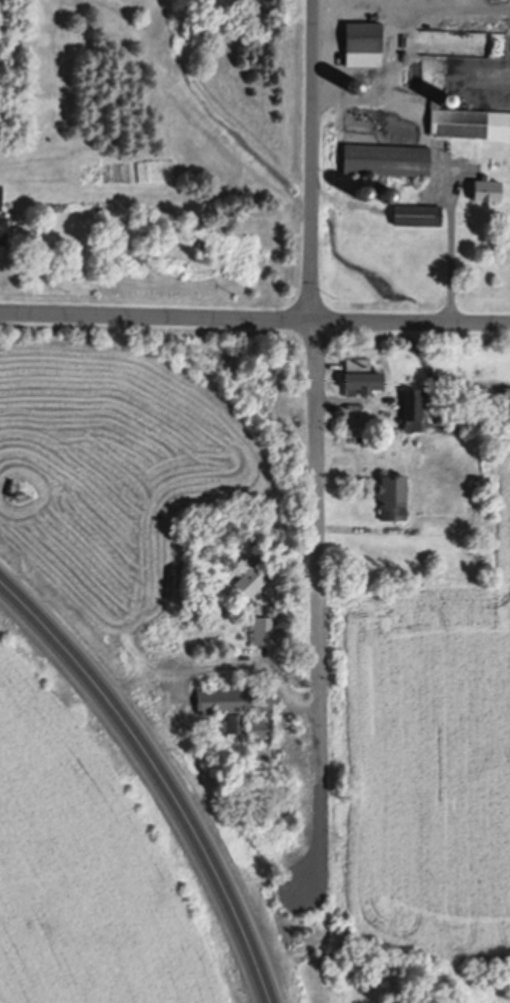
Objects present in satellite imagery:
building: (365, 39)
building: (356, 83)
building: (447, 97)
building: (442, 118)
building: (388, 156)
building: (487, 186)
building: (364, 189)
building: (1, 191)
building: (388, 192)
building: (417, 211)
building: (3, 225)
road: (254, 317)
building: (361, 373)
building: (413, 406)
road: (315, 443)
building: (394, 494)
building: (251, 572)
building: (266, 627)
building: (243, 703)
building: (235, 720)
road: (161, 774)

